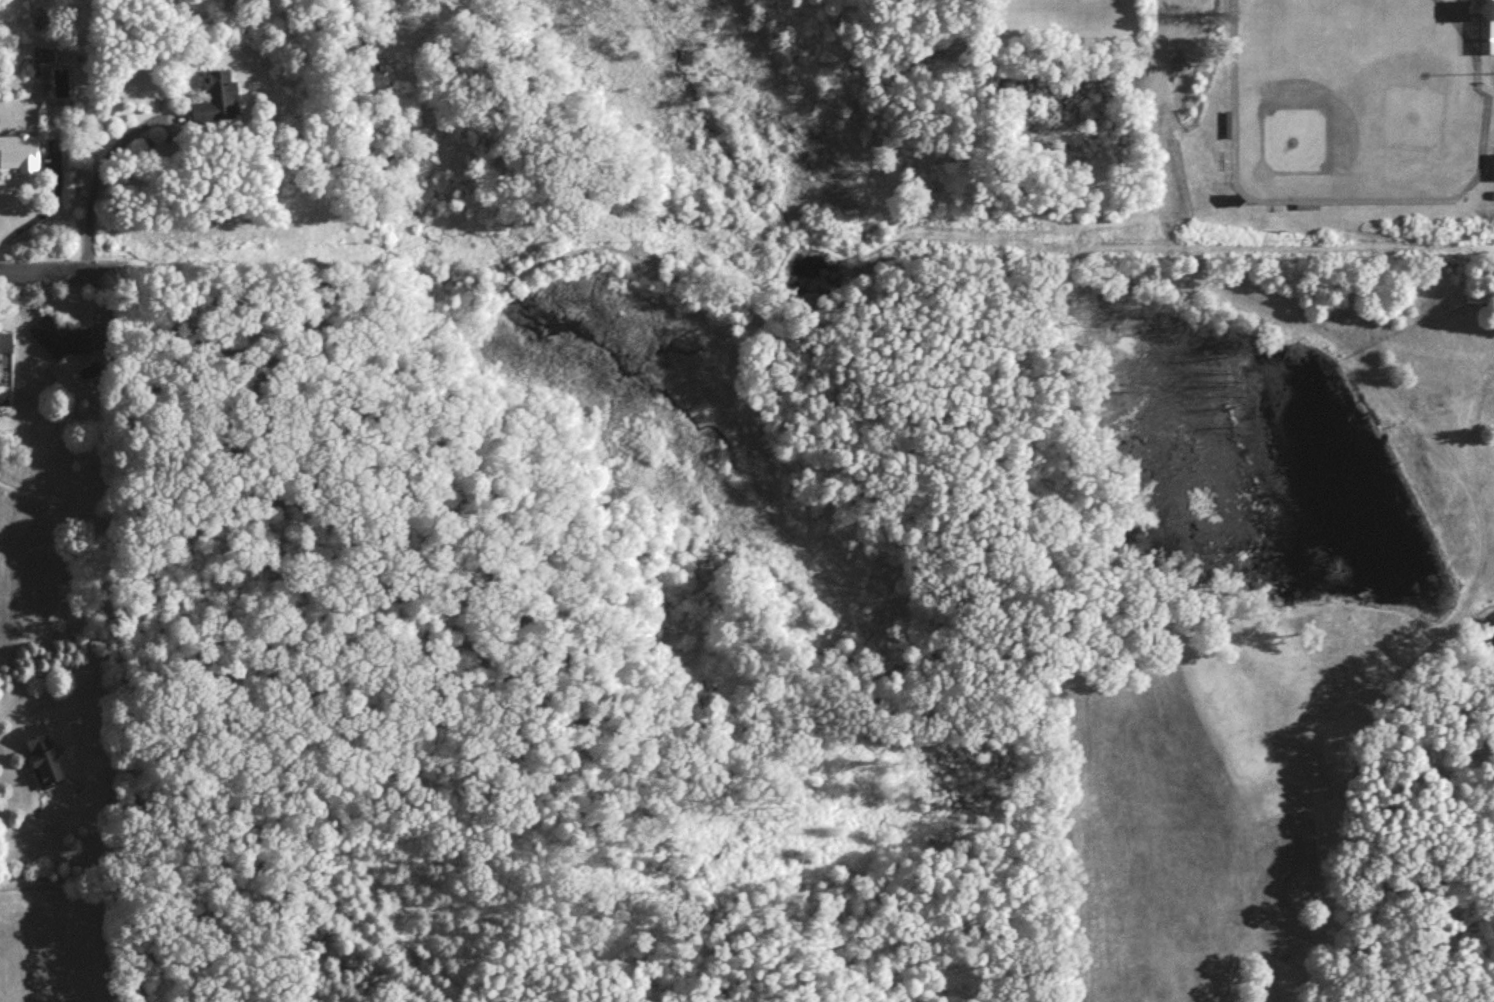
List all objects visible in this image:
building: (1490, 29)
building: (217, 100)
park: (1353, 106)
building: (22, 153)
road: (104, 167)
building: (1493, 173)
road: (46, 203)
road: (56, 272)
road: (103, 299)
building: (67, 339)
building: (8, 344)
road: (12, 748)
building: (43, 755)
crop: (54, 941)

